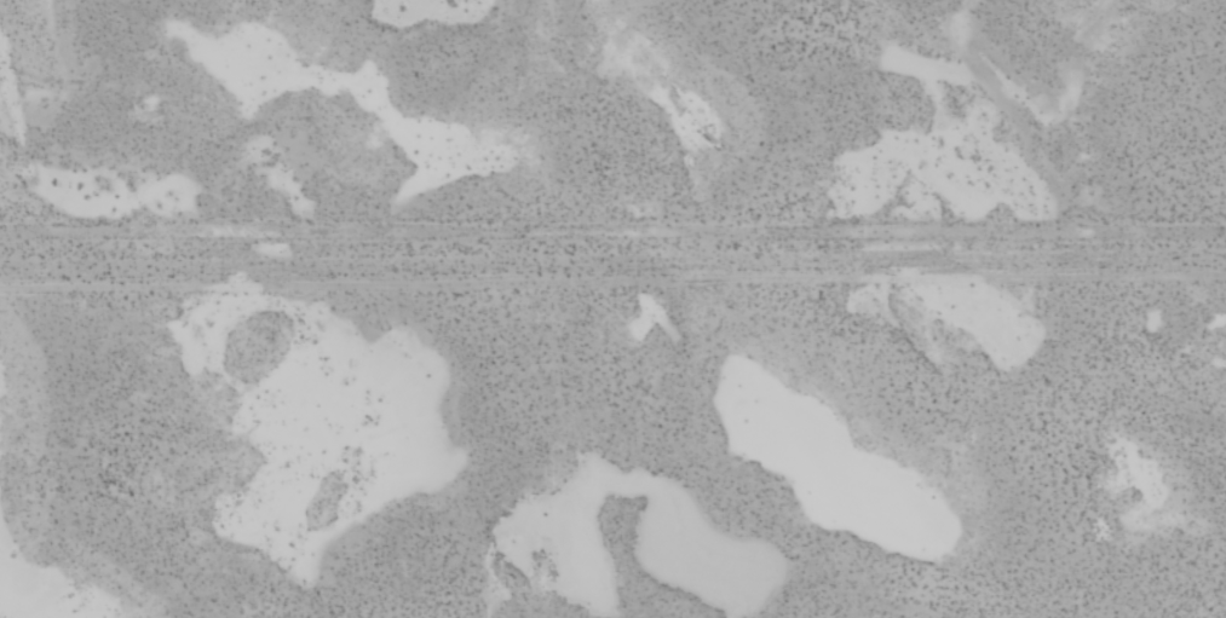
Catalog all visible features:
airport: (615, 449)

